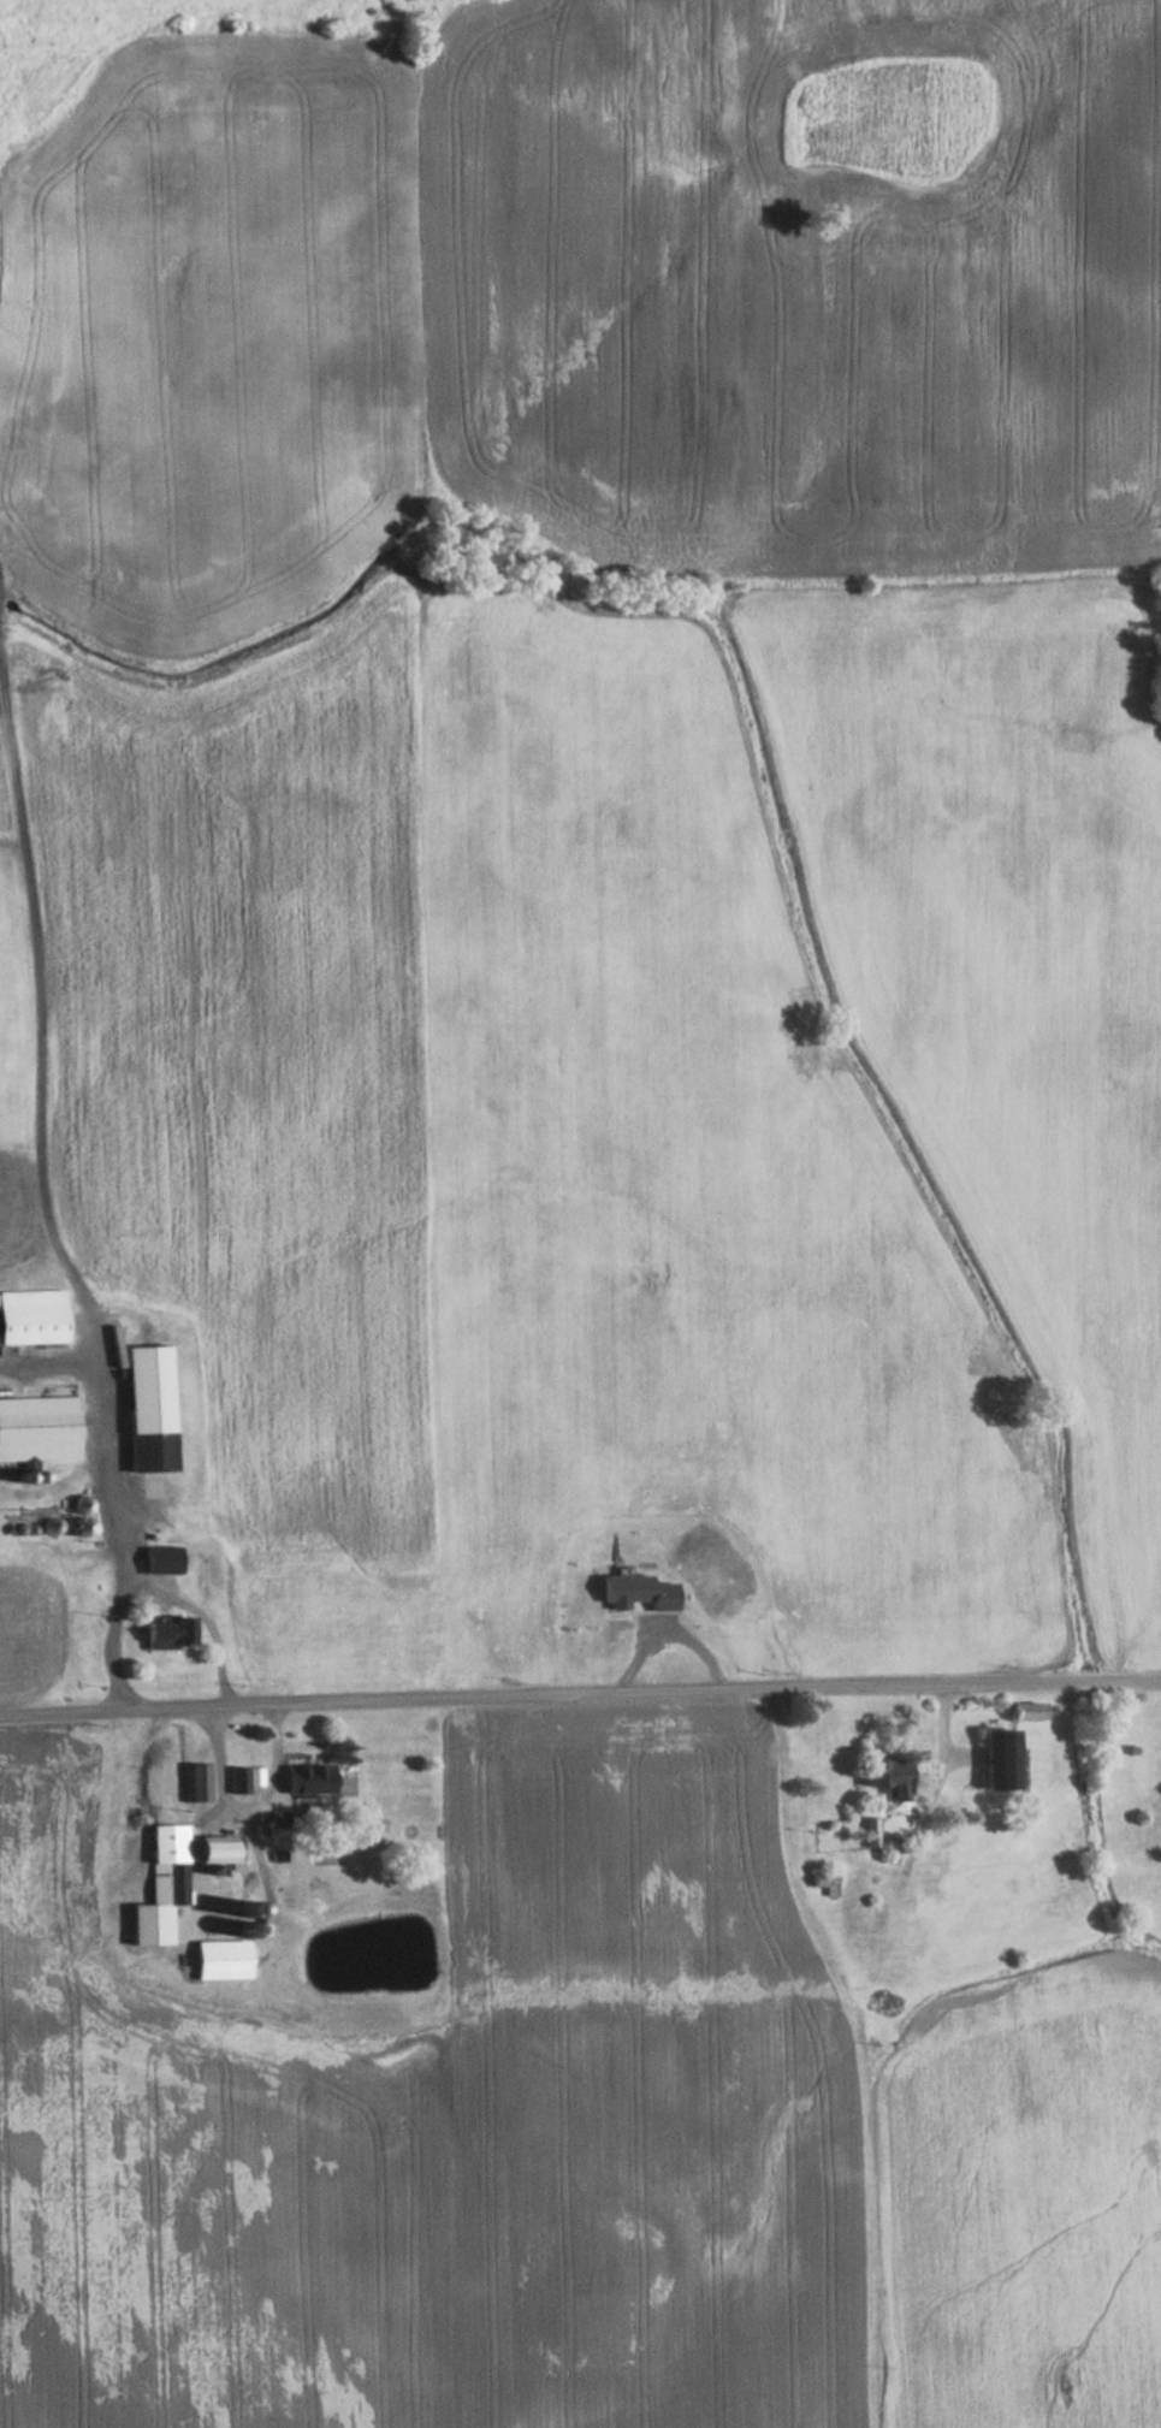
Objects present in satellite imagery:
road: (41, 1202)
building: (31, 1316)
building: (147, 1407)
building: (37, 1427)
building: (161, 1557)
road: (201, 1617)
building: (165, 1632)
road: (1052, 1680)
road: (470, 1694)
building: (1026, 1710)
road: (940, 1749)
road: (956, 1753)
building: (999, 1758)
building: (319, 1778)
building: (888, 1778)
building: (236, 1779)
building: (195, 1782)
road: (243, 1798)
building: (274, 1828)
road: (253, 1837)
building: (213, 1849)
building: (160, 1885)
building: (223, 1959)

